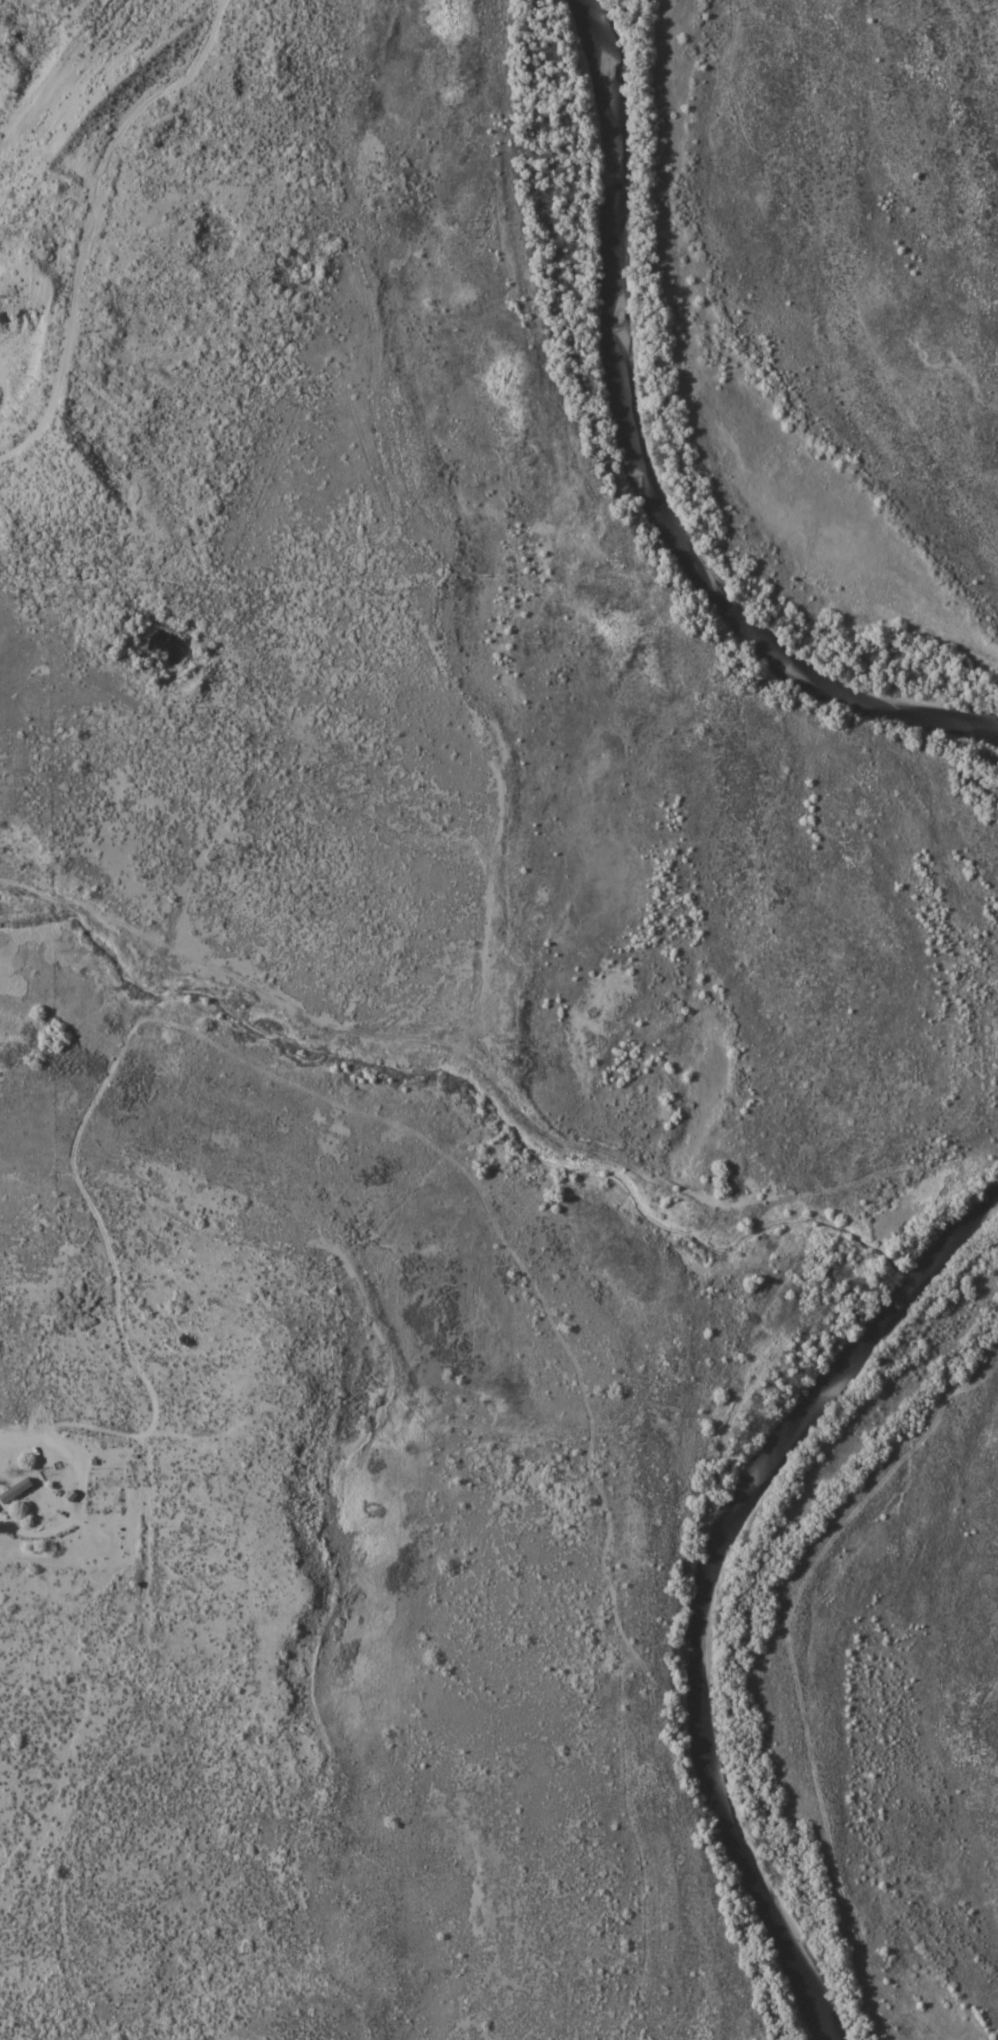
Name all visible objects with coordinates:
river: (645, 467)
building: (15, 1490)
river: (704, 1579)

